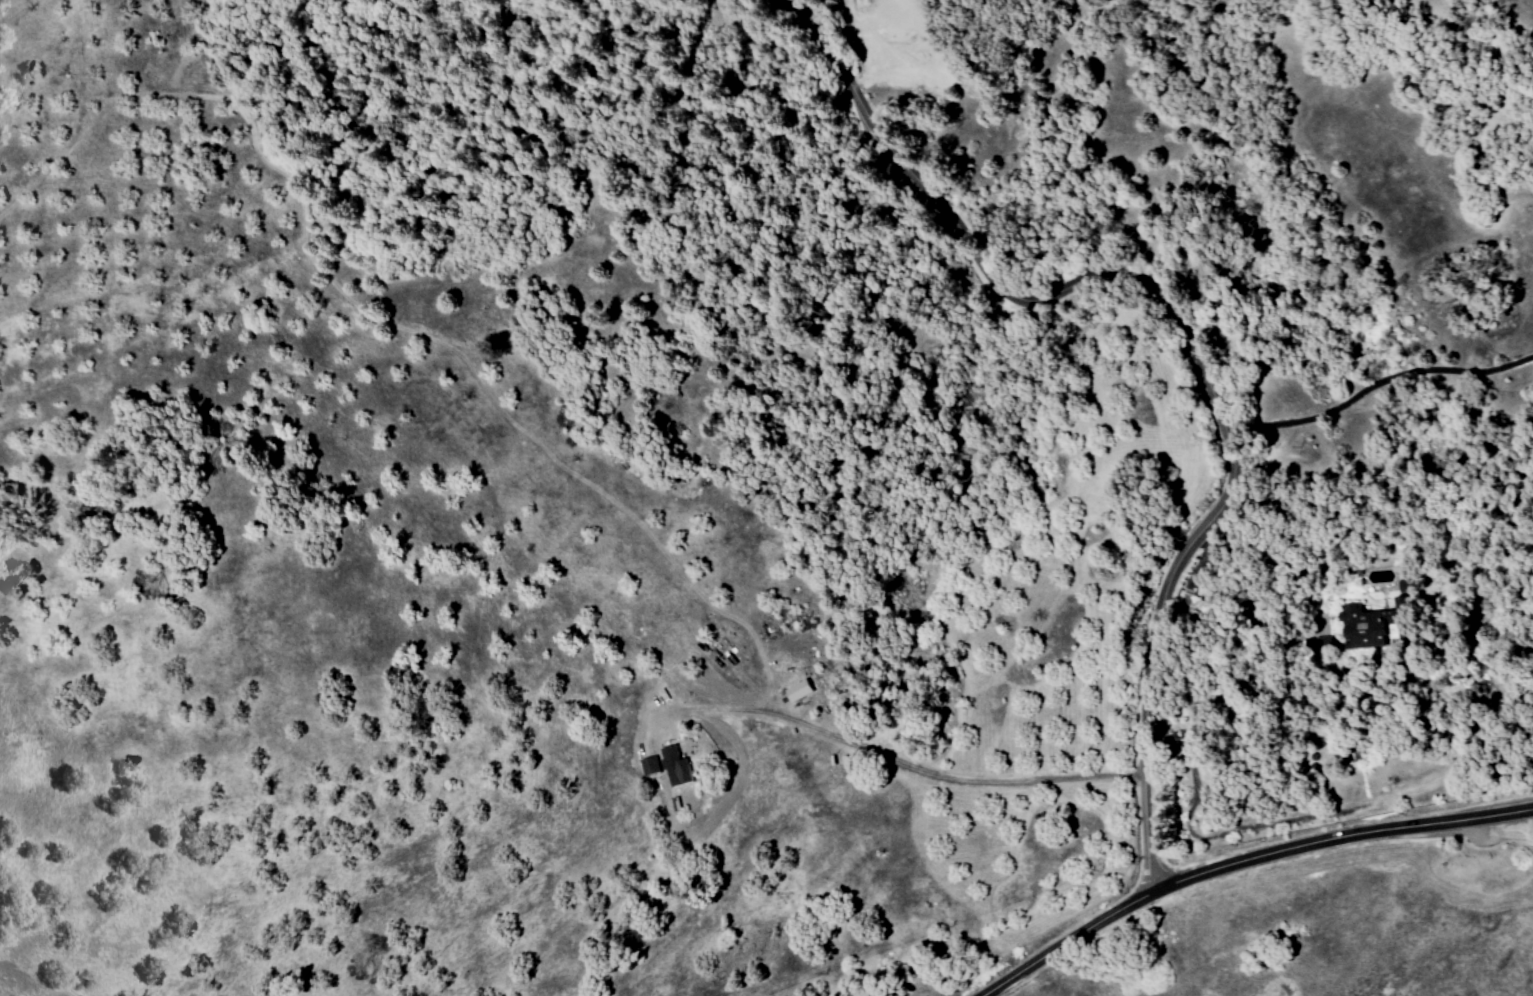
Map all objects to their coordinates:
road: (1186, 344)
road: (1376, 380)
building: (1380, 621)
building: (802, 690)
road: (902, 761)
building: (649, 766)
building: (677, 767)
road: (1522, 822)
road: (1244, 864)

